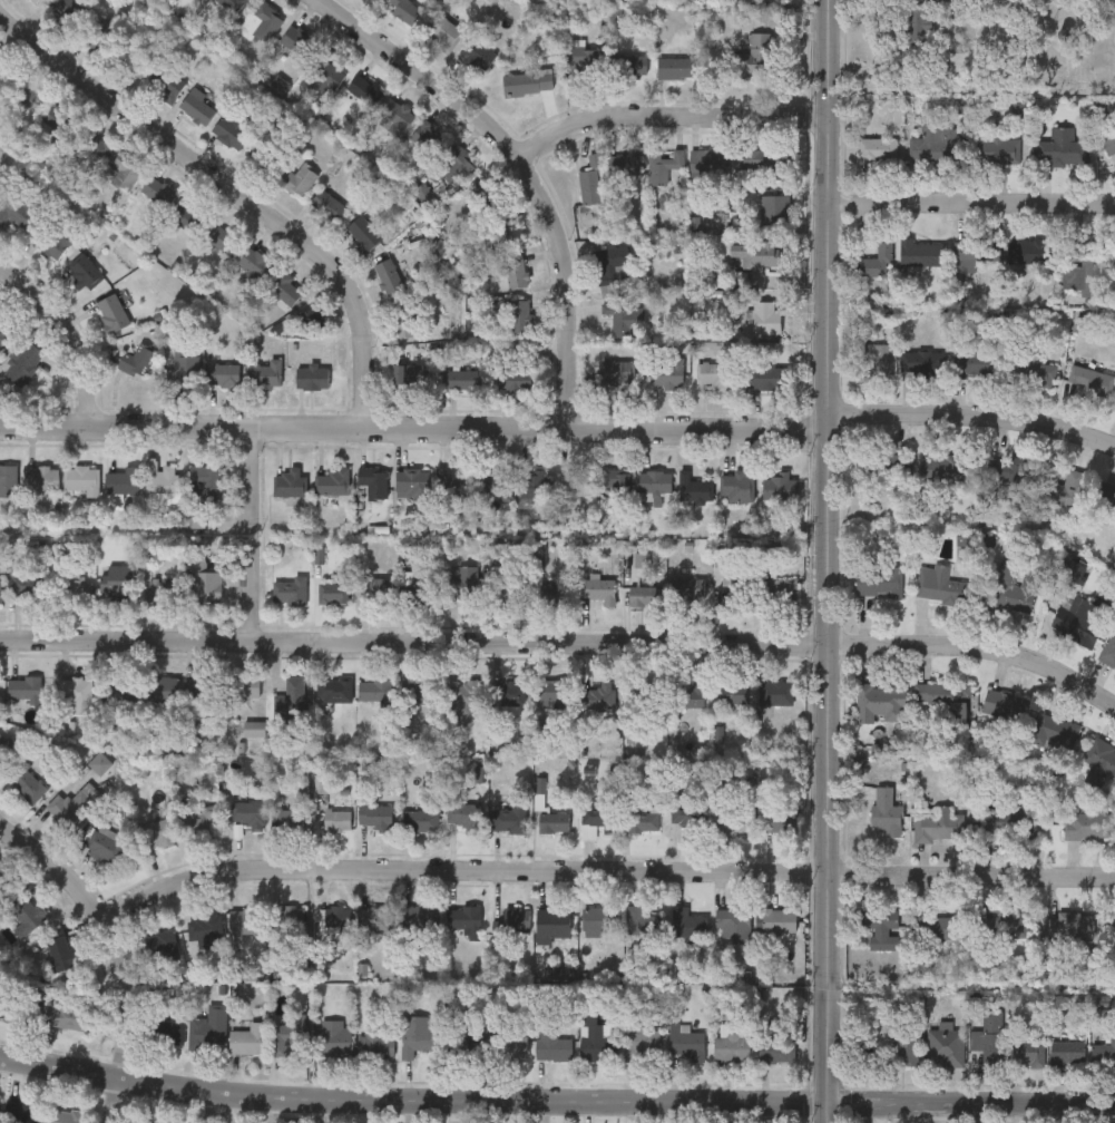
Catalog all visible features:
building: (33, 0)
building: (232, 6)
building: (403, 8)
building: (65, 11)
building: (261, 21)
building: (917, 23)
building: (441, 31)
building: (95, 32)
building: (296, 41)
building: (476, 52)
building: (756, 57)
building: (136, 59)
building: (580, 60)
building: (630, 65)
building: (674, 66)
building: (322, 71)
building: (3, 76)
building: (526, 80)
building: (164, 81)
building: (27, 95)
building: (380, 100)
building: (196, 106)
building: (58, 120)
road: (669, 127)
building: (231, 128)
building: (427, 135)
building: (1106, 136)
building: (933, 143)
building: (91, 147)
building: (1059, 147)
building: (877, 149)
building: (996, 150)
building: (267, 154)
building: (761, 159)
building: (623, 162)
building: (663, 163)
building: (453, 164)
building: (707, 164)
building: (125, 169)
road: (531, 170)
building: (297, 178)
building: (589, 180)
building: (157, 191)
road: (238, 191)
building: (481, 191)
building: (0, 197)
building: (326, 204)
road: (969, 204)
building: (774, 208)
building: (17, 212)
building: (189, 216)
building: (362, 232)
building: (496, 232)
building: (223, 238)
building: (50, 243)
building: (754, 252)
building: (920, 252)
building: (974, 252)
building: (1030, 252)
building: (877, 260)
building: (255, 263)
building: (1094, 266)
building: (608, 267)
building: (1114, 267)
building: (84, 271)
building: (514, 271)
building: (388, 274)
building: (284, 287)
building: (110, 312)
building: (514, 312)
building: (310, 318)
building: (619, 318)
building: (764, 318)
building: (401, 320)
building: (3, 331)
road: (75, 331)
building: (135, 360)
building: (21, 361)
building: (874, 361)
building: (976, 361)
building: (922, 363)
building: (183, 368)
building: (665, 370)
building: (616, 372)
building: (1031, 372)
building: (714, 373)
building: (264, 374)
building: (224, 375)
building: (411, 375)
building: (515, 377)
building: (763, 377)
building: (311, 378)
building: (462, 378)
building: (1089, 380)
road: (970, 417)
road: (411, 432)
building: (882, 463)
building: (945, 465)
building: (81, 477)
building: (41, 478)
building: (411, 479)
building: (8, 480)
building: (121, 480)
building: (160, 481)
building: (205, 481)
building: (495, 481)
building: (288, 482)
building: (331, 482)
building: (531, 482)
building: (573, 482)
building: (615, 482)
building: (653, 482)
building: (375, 485)
building: (776, 485)
building: (735, 486)
building: (1062, 486)
building: (692, 487)
building: (451, 488)
building: (1103, 501)
road: (254, 536)
road: (823, 561)
building: (879, 579)
building: (117, 580)
building: (206, 580)
building: (464, 583)
building: (939, 585)
building: (30, 586)
building: (1014, 587)
building: (378, 588)
building: (1, 589)
building: (77, 589)
building: (420, 589)
building: (598, 589)
building: (688, 589)
building: (166, 590)
building: (291, 590)
building: (334, 590)
building: (782, 590)
building: (556, 593)
building: (511, 594)
building: (735, 594)
building: (645, 596)
building: (1077, 621)
road: (565, 642)
building: (1108, 648)
building: (244, 686)
building: (164, 687)
building: (26, 689)
building: (334, 689)
building: (375, 689)
building: (421, 690)
building: (203, 691)
building: (554, 691)
building: (509, 692)
building: (645, 692)
building: (777, 692)
building: (76, 693)
building: (607, 694)
building: (734, 694)
building: (689, 695)
building: (463, 697)
building: (292, 699)
building: (945, 699)
building: (880, 701)
building: (117, 702)
building: (1004, 704)
building: (1054, 733)
building: (6, 751)
building: (1101, 755)
building: (100, 762)
building: (70, 808)
building: (248, 811)
building: (463, 811)
building: (884, 813)
building: (376, 816)
building: (510, 818)
building: (687, 818)
building: (732, 819)
building: (285, 820)
building: (339, 820)
building: (597, 820)
building: (645, 820)
building: (781, 820)
building: (421, 821)
building: (202, 822)
building: (555, 822)
building: (1011, 822)
building: (1090, 824)
building: (937, 827)
building: (156, 832)
building: (106, 846)
road: (599, 870)
building: (2, 886)
building: (26, 914)
building: (292, 917)
building: (335, 917)
building: (420, 918)
building: (246, 919)
building: (378, 919)
building: (466, 919)
building: (779, 919)
building: (514, 920)
building: (644, 920)
building: (599, 921)
building: (688, 922)
building: (551, 924)
building: (734, 924)
building: (937, 926)
building: (1008, 926)
building: (1070, 926)
building: (205, 928)
building: (880, 928)
building: (159, 946)
building: (59, 949)
road: (109, 953)
building: (7, 1003)
building: (66, 1014)
building: (209, 1025)
building: (168, 1027)
building: (415, 1034)
building: (291, 1035)
building: (334, 1037)
building: (595, 1037)
building: (250, 1038)
building: (640, 1041)
building: (686, 1042)
building: (775, 1043)
building: (375, 1045)
building: (515, 1045)
building: (551, 1045)
building: (732, 1046)
building: (945, 1047)
building: (991, 1047)
building: (906, 1051)
building: (1028, 1053)
building: (1067, 1053)
building: (1103, 1055)
road: (409, 1097)
road: (968, 1102)
building: (1, 1109)
building: (26, 1112)
road: (939, 1112)

